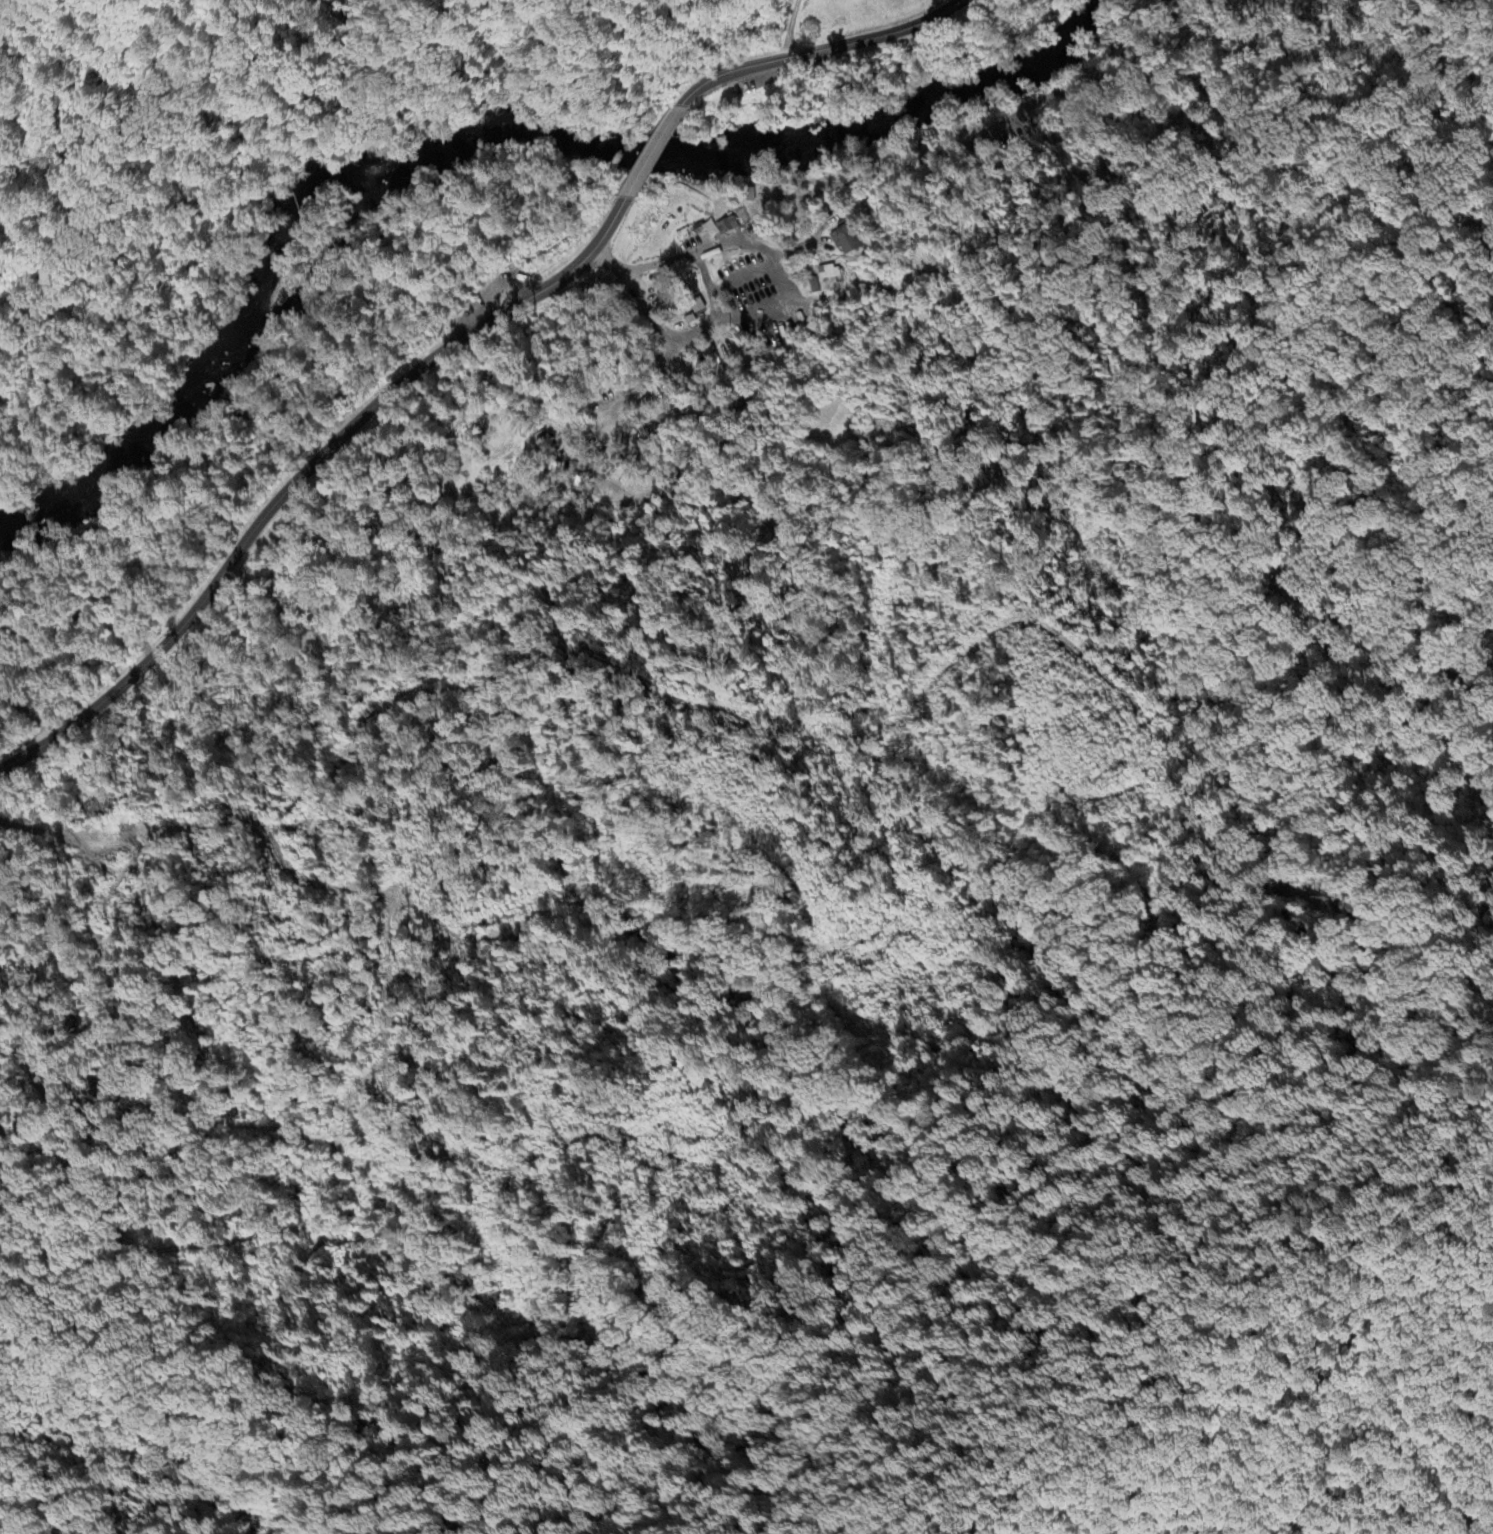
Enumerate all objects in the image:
road: (422, 12)
road: (787, 30)
road: (823, 51)
road: (576, 52)
road: (1120, 60)
parking lot: (758, 80)
river: (492, 146)
parking lot: (999, 149)
road: (655, 152)
road: (155, 160)
road: (910, 162)
building: (772, 190)
building: (751, 194)
building: (725, 226)
building: (698, 230)
road: (751, 232)
building: (847, 237)
building: (921, 241)
road: (793, 247)
building: (829, 273)
road: (780, 280)
building: (813, 286)
road: (725, 287)
road: (491, 289)
road: (746, 290)
parking lot: (496, 293)
road: (714, 307)
road: (306, 476)
road: (98, 521)

